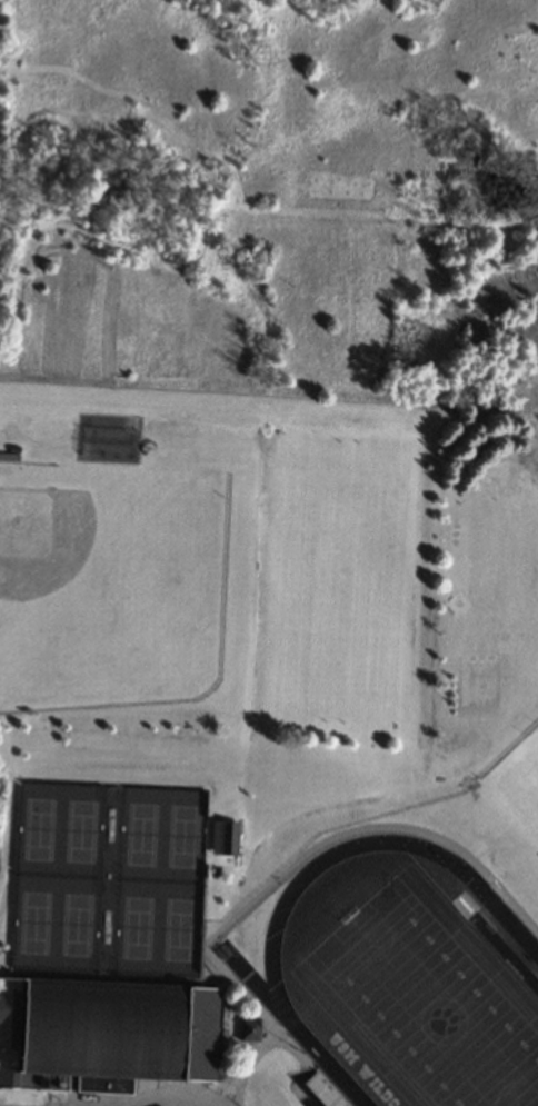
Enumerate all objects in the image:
park: (110, 582)
park: (339, 582)
park: (520, 785)
park: (39, 828)
park: (81, 829)
park: (140, 833)
park: (182, 835)
building: (223, 837)
park: (34, 921)
park: (76, 923)
park: (137, 926)
park: (177, 928)
track: (249, 974)
park: (427, 999)
park: (429, 1003)
building: (249, 1029)
building: (103, 1033)
building: (96, 1083)
road: (162, 1100)

